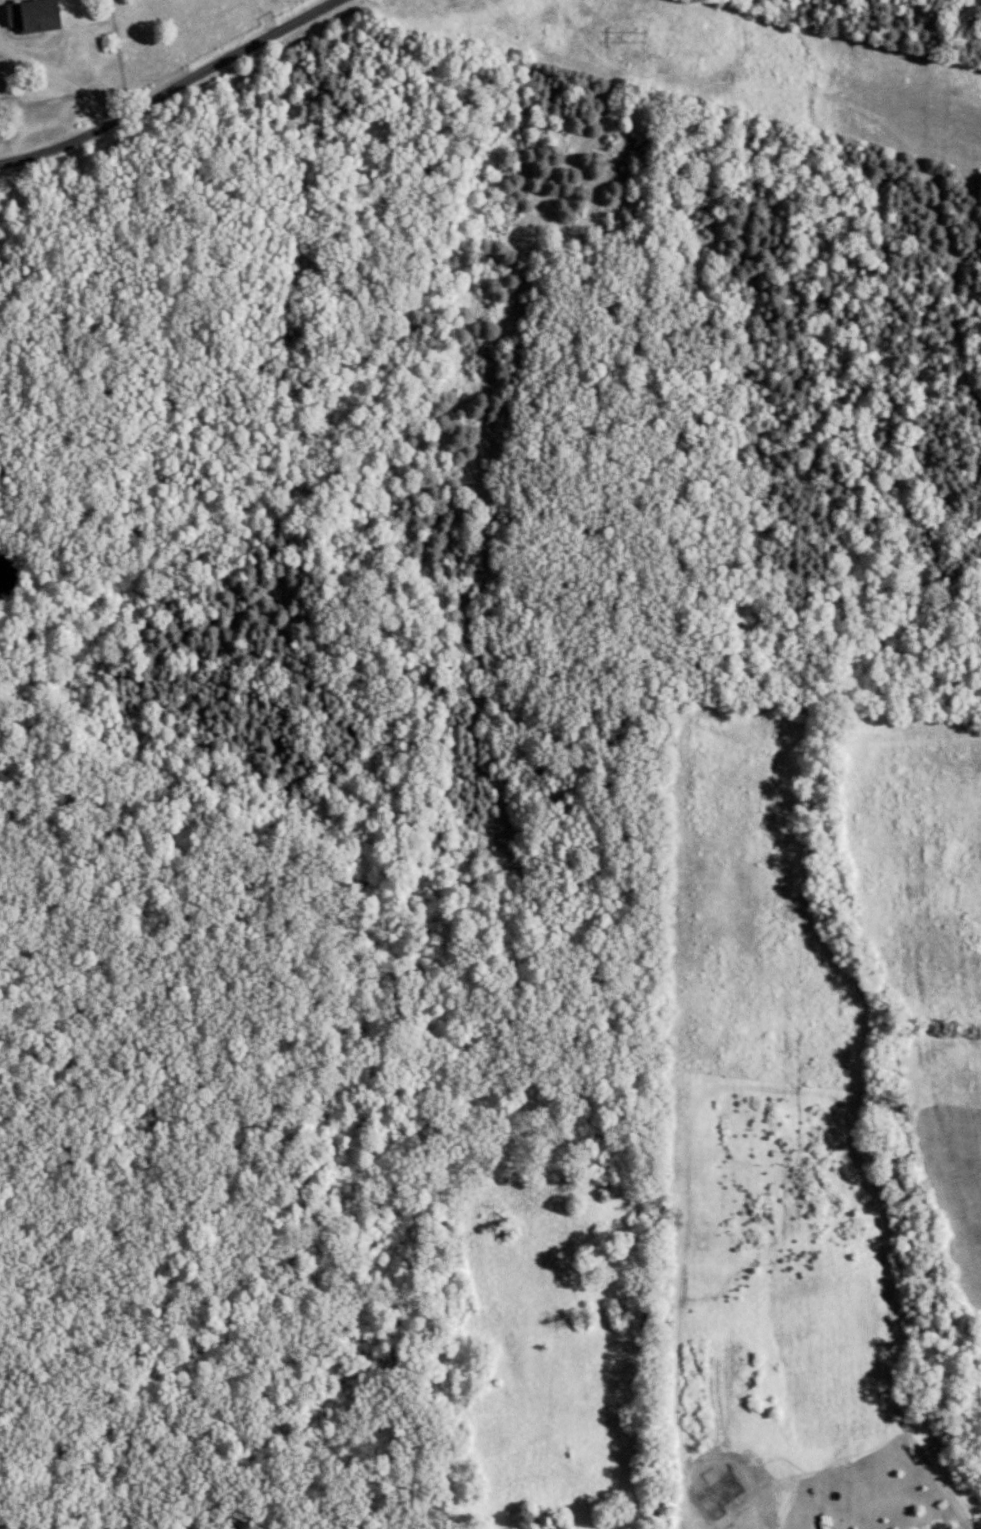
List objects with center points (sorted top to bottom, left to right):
building: (37, 14)
power tower: (642, 39)
road: (176, 91)

